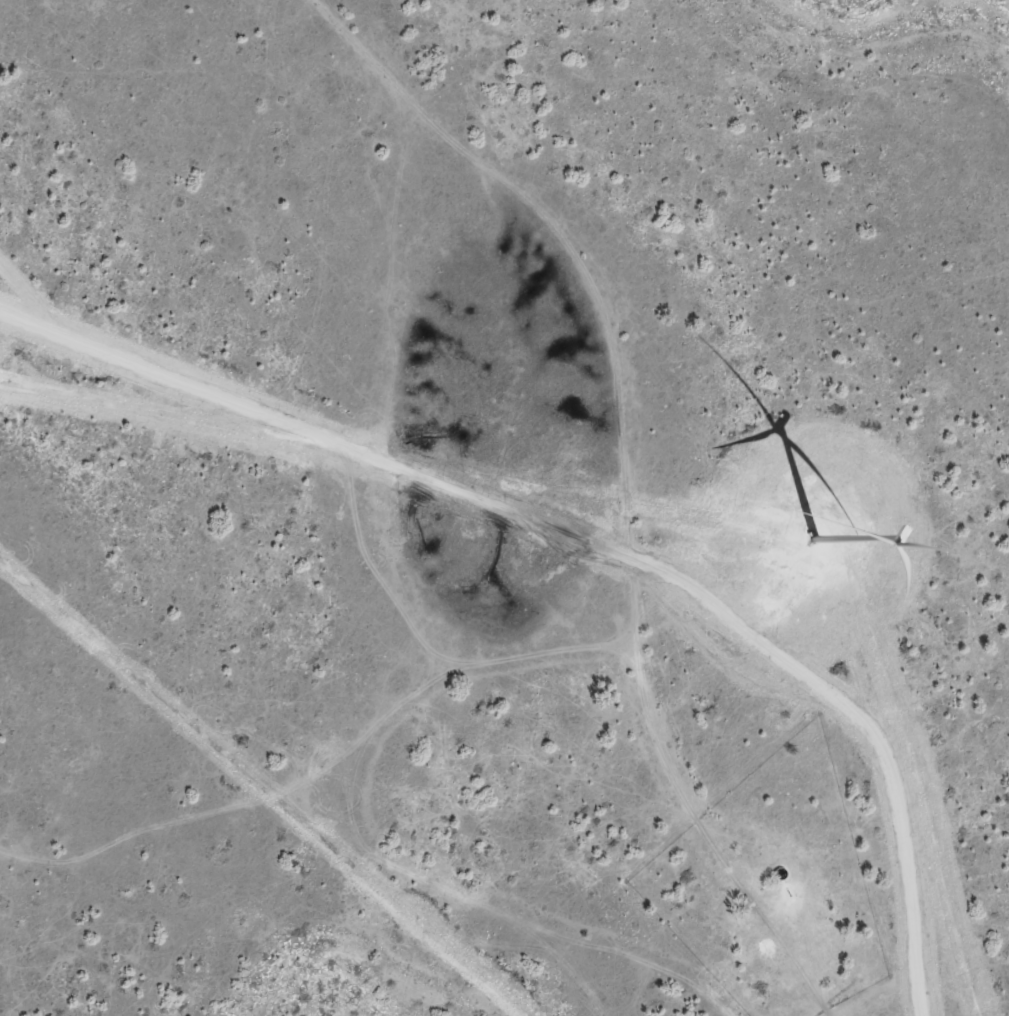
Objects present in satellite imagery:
road: (669, 468)
wind turbine: (799, 520)
road: (389, 875)

